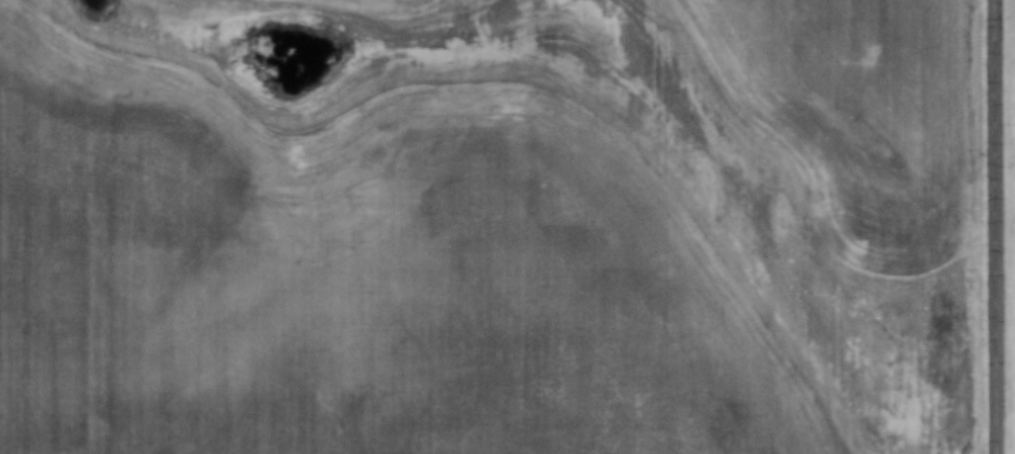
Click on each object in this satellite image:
road: (1002, 227)

